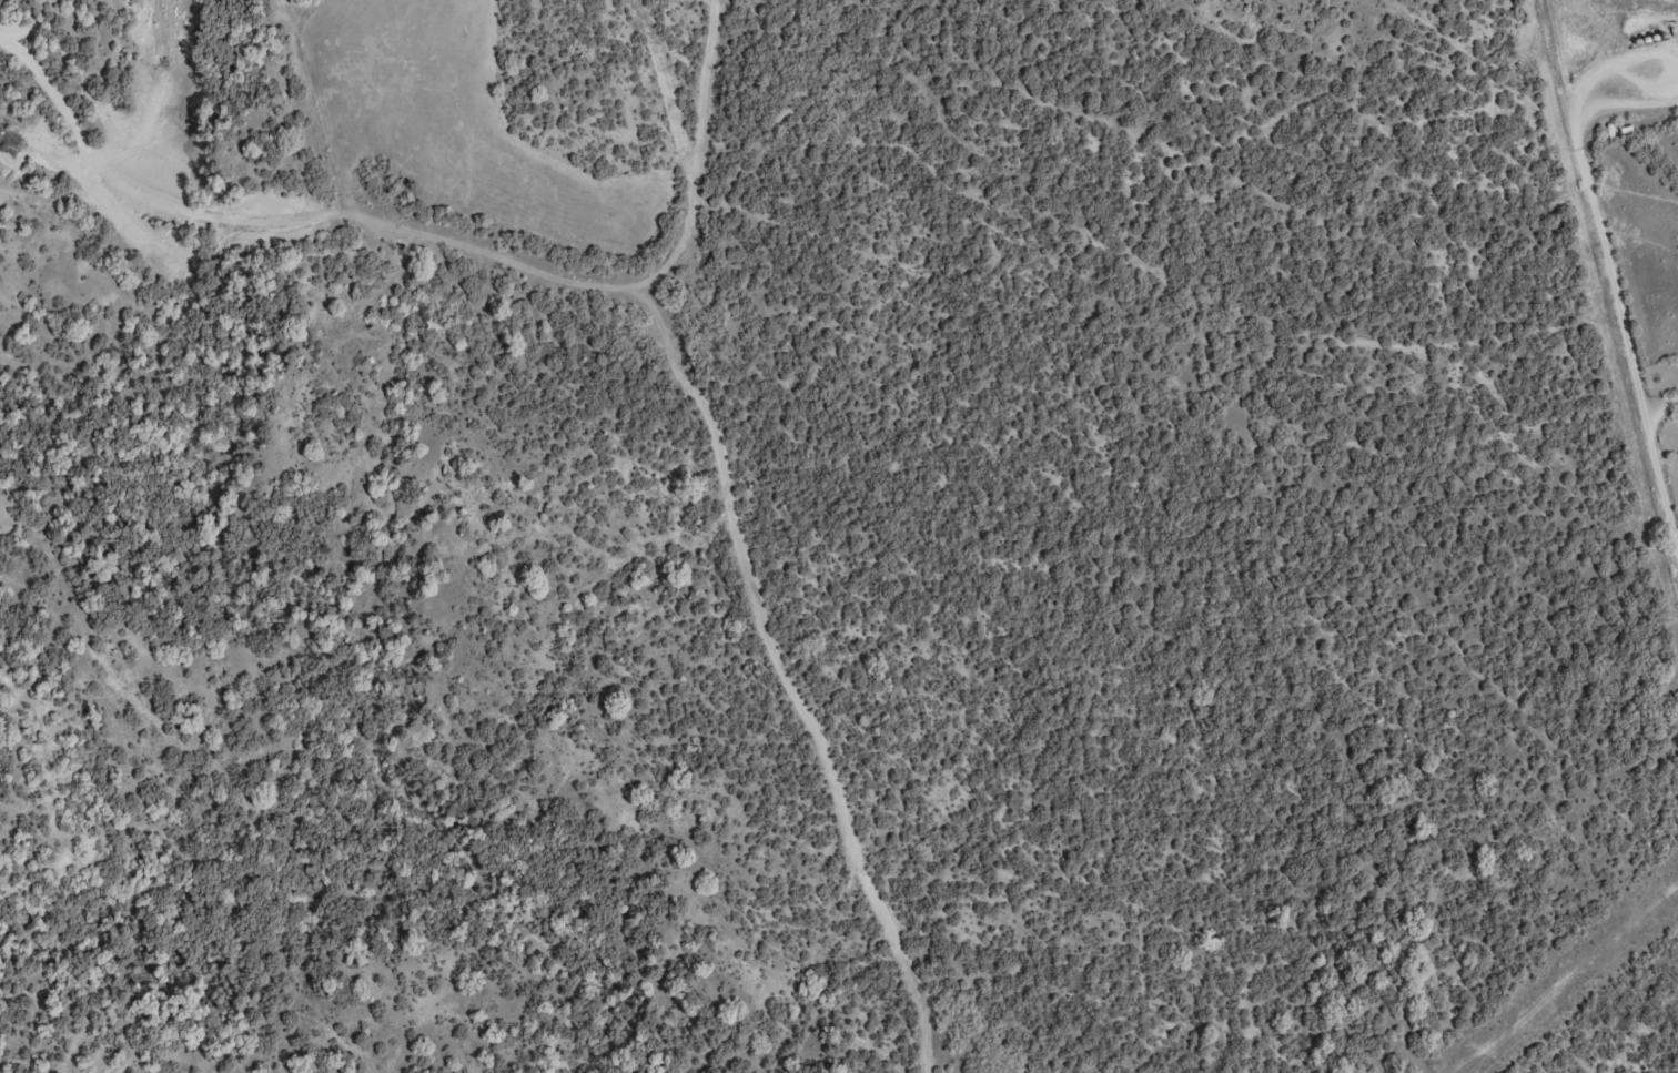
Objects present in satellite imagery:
road: (1608, 289)
road: (1657, 424)

